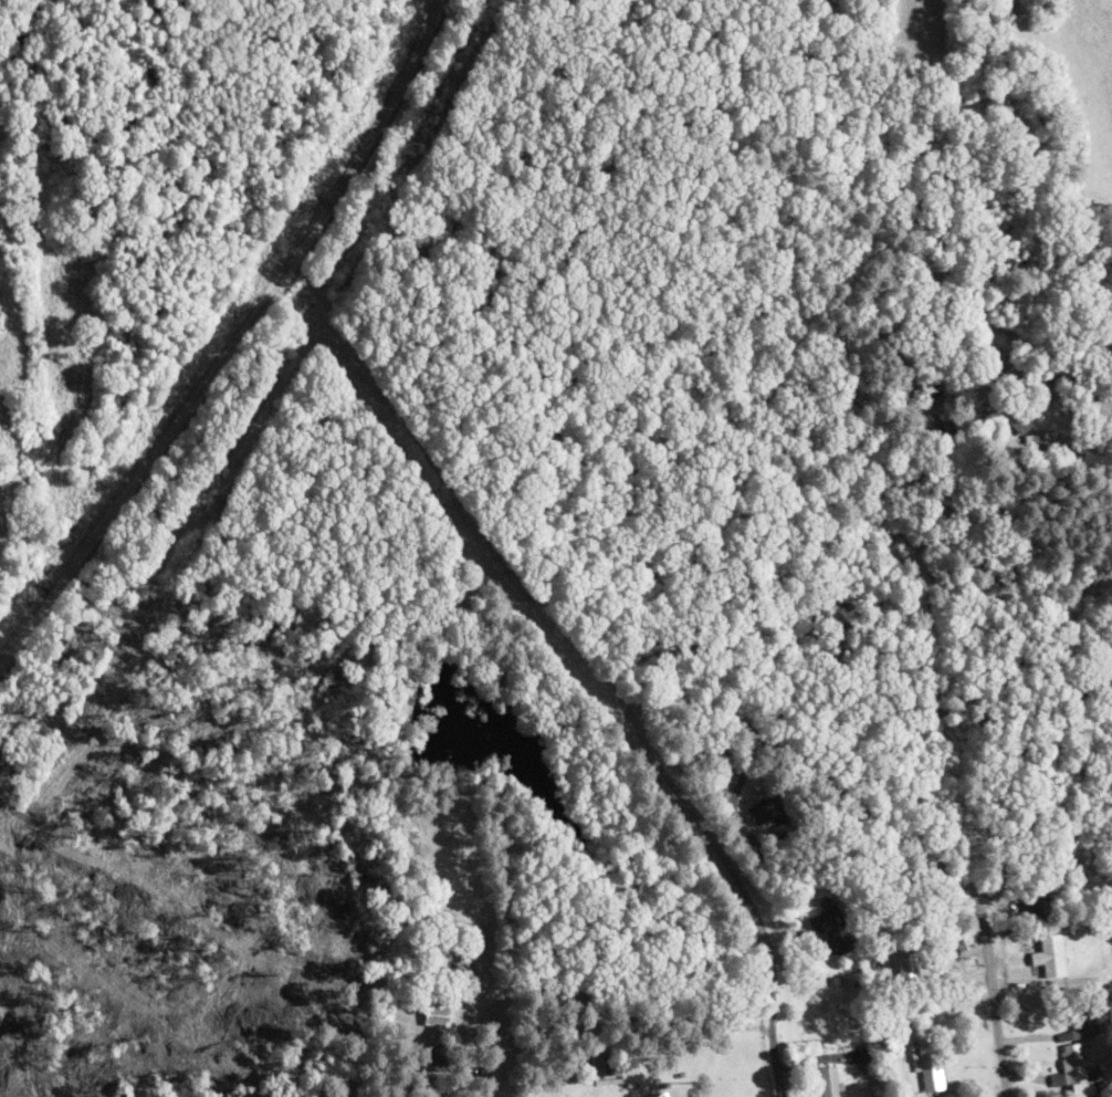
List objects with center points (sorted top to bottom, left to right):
road: (235, 344)
road: (1015, 347)
road: (703, 405)
building: (950, 414)
building: (1021, 422)
building: (1041, 441)
building: (1098, 686)
building: (764, 812)
road: (892, 834)
road: (743, 895)
building: (1038, 907)
building: (832, 930)
building: (909, 969)
building: (1031, 979)
building: (439, 1013)
building: (1084, 1030)
building: (930, 1059)
building: (1074, 1062)
building: (612, 1064)
building: (829, 1080)
building: (661, 1094)

